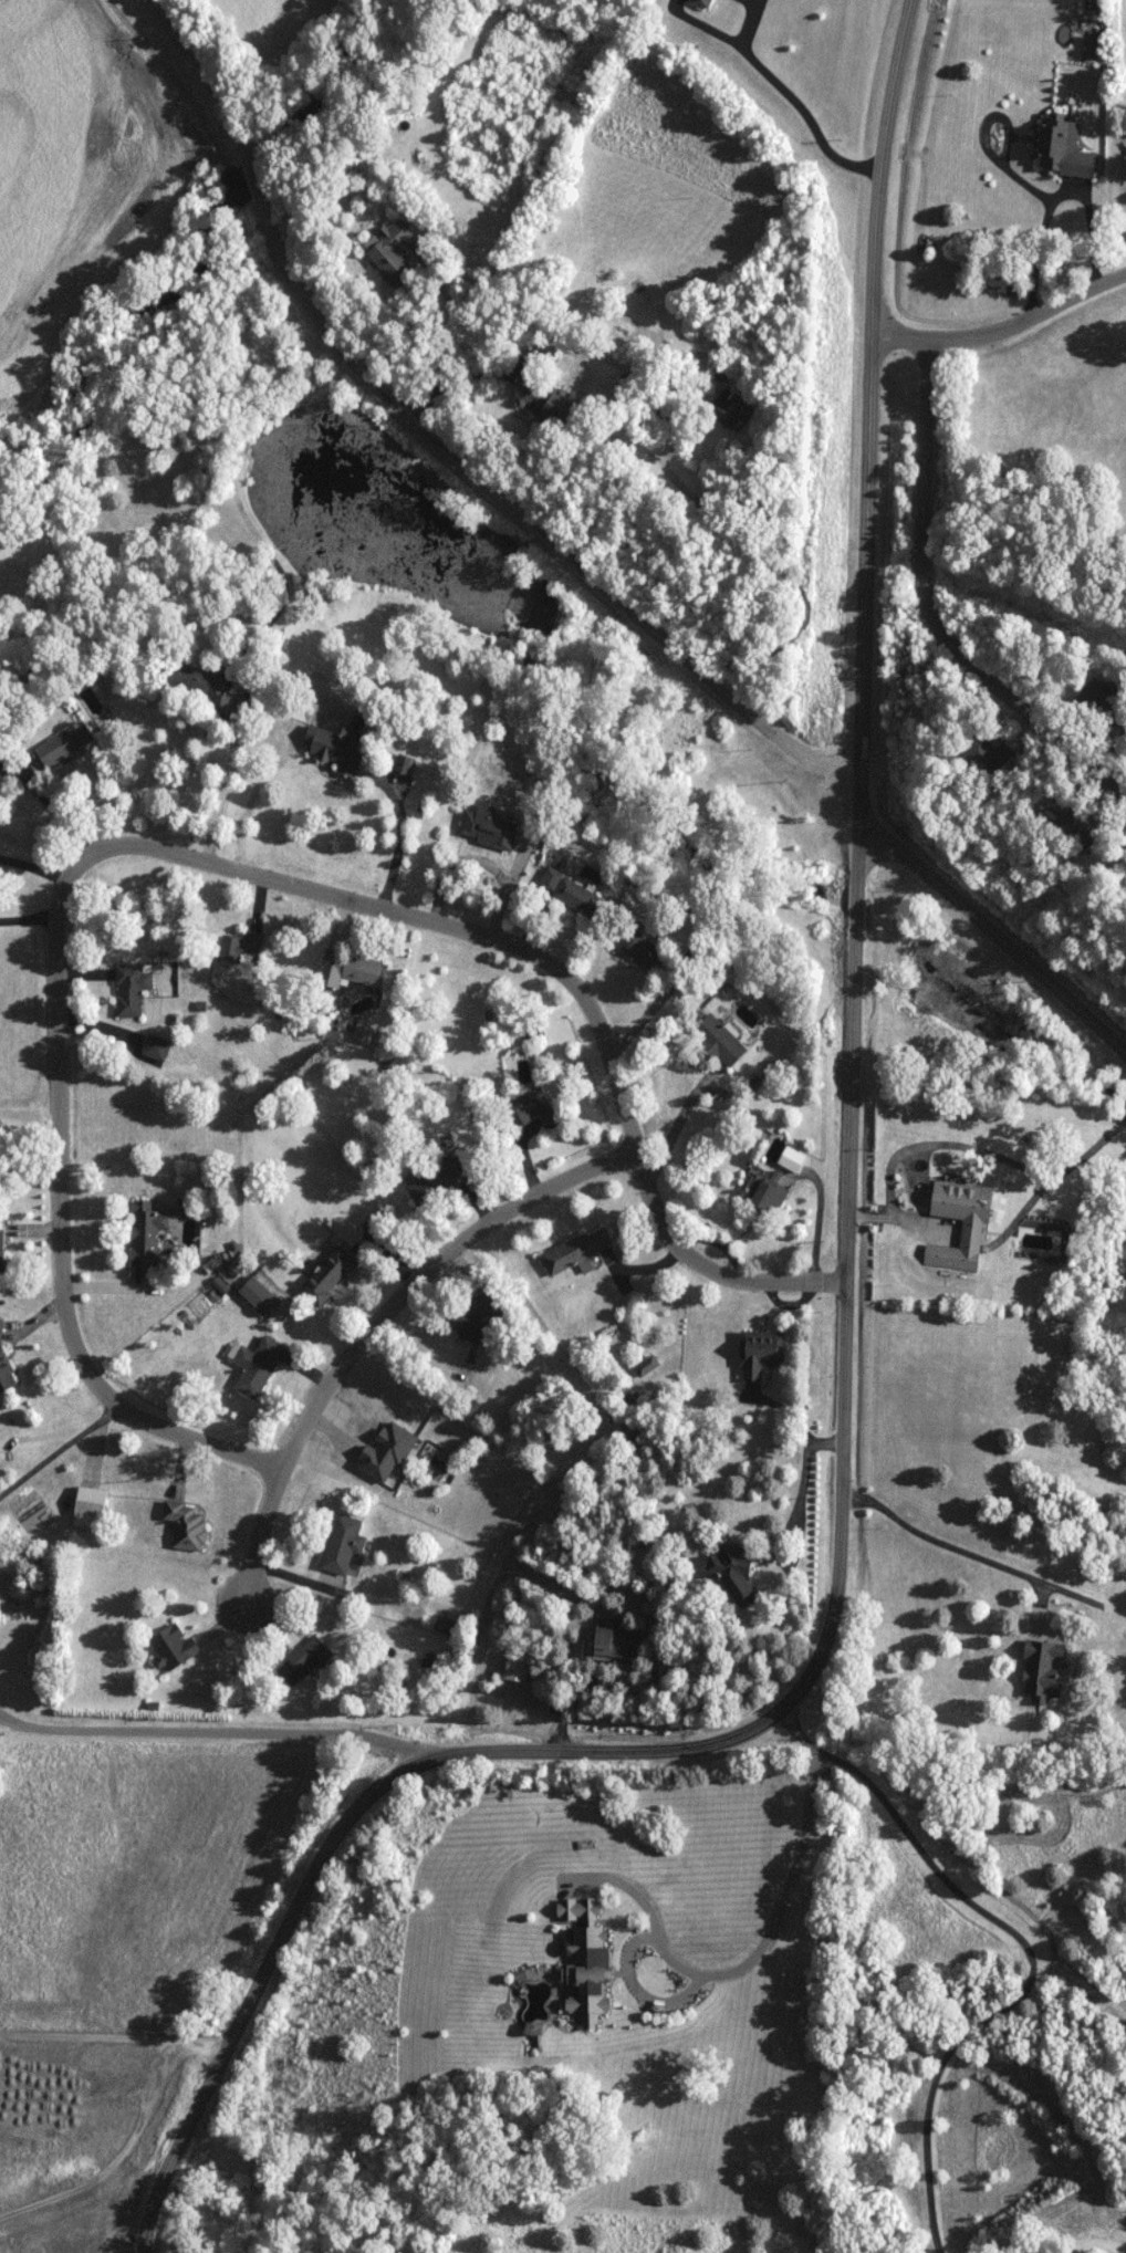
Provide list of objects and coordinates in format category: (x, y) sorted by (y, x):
road: (218, 81)
road: (778, 85)
building: (1062, 149)
road: (1047, 196)
building: (392, 250)
road: (1002, 330)
building: (721, 371)
building: (629, 383)
building: (545, 401)
building: (731, 408)
building: (658, 411)
road: (243, 505)
road: (520, 505)
road: (775, 566)
road: (931, 606)
building: (201, 681)
building: (1103, 702)
building: (64, 744)
building: (337, 749)
building: (987, 753)
building: (405, 764)
road: (225, 784)
building: (1080, 824)
building: (490, 830)
road: (400, 842)
road: (482, 860)
building: (551, 879)
building: (582, 899)
road: (995, 937)
building: (242, 948)
building: (640, 949)
building: (348, 970)
road: (576, 981)
building: (132, 988)
road: (648, 1014)
building: (532, 1030)
building: (719, 1041)
building: (156, 1047)
building: (532, 1108)
road: (678, 1126)
building: (437, 1181)
road: (61, 1195)
building: (763, 1195)
building: (963, 1207)
road: (817, 1217)
building: (146, 1233)
building: (1, 1240)
building: (576, 1252)
building: (329, 1276)
building: (258, 1295)
building: (478, 1311)
road: (372, 1328)
road: (847, 1335)
building: (760, 1353)
building: (257, 1366)
building: (647, 1366)
building: (4, 1368)
building: (635, 1429)
building: (399, 1441)
road: (60, 1451)
building: (88, 1508)
building: (187, 1525)
road: (940, 1543)
building: (343, 1544)
building: (732, 1568)
building: (617, 1638)
building: (173, 1649)
building: (303, 1660)
building: (518, 1666)
building: (1042, 1668)
road: (6, 1725)
road: (213, 1732)
building: (578, 1909)
road: (1032, 1948)
road: (760, 1952)
building: (586, 1972)

